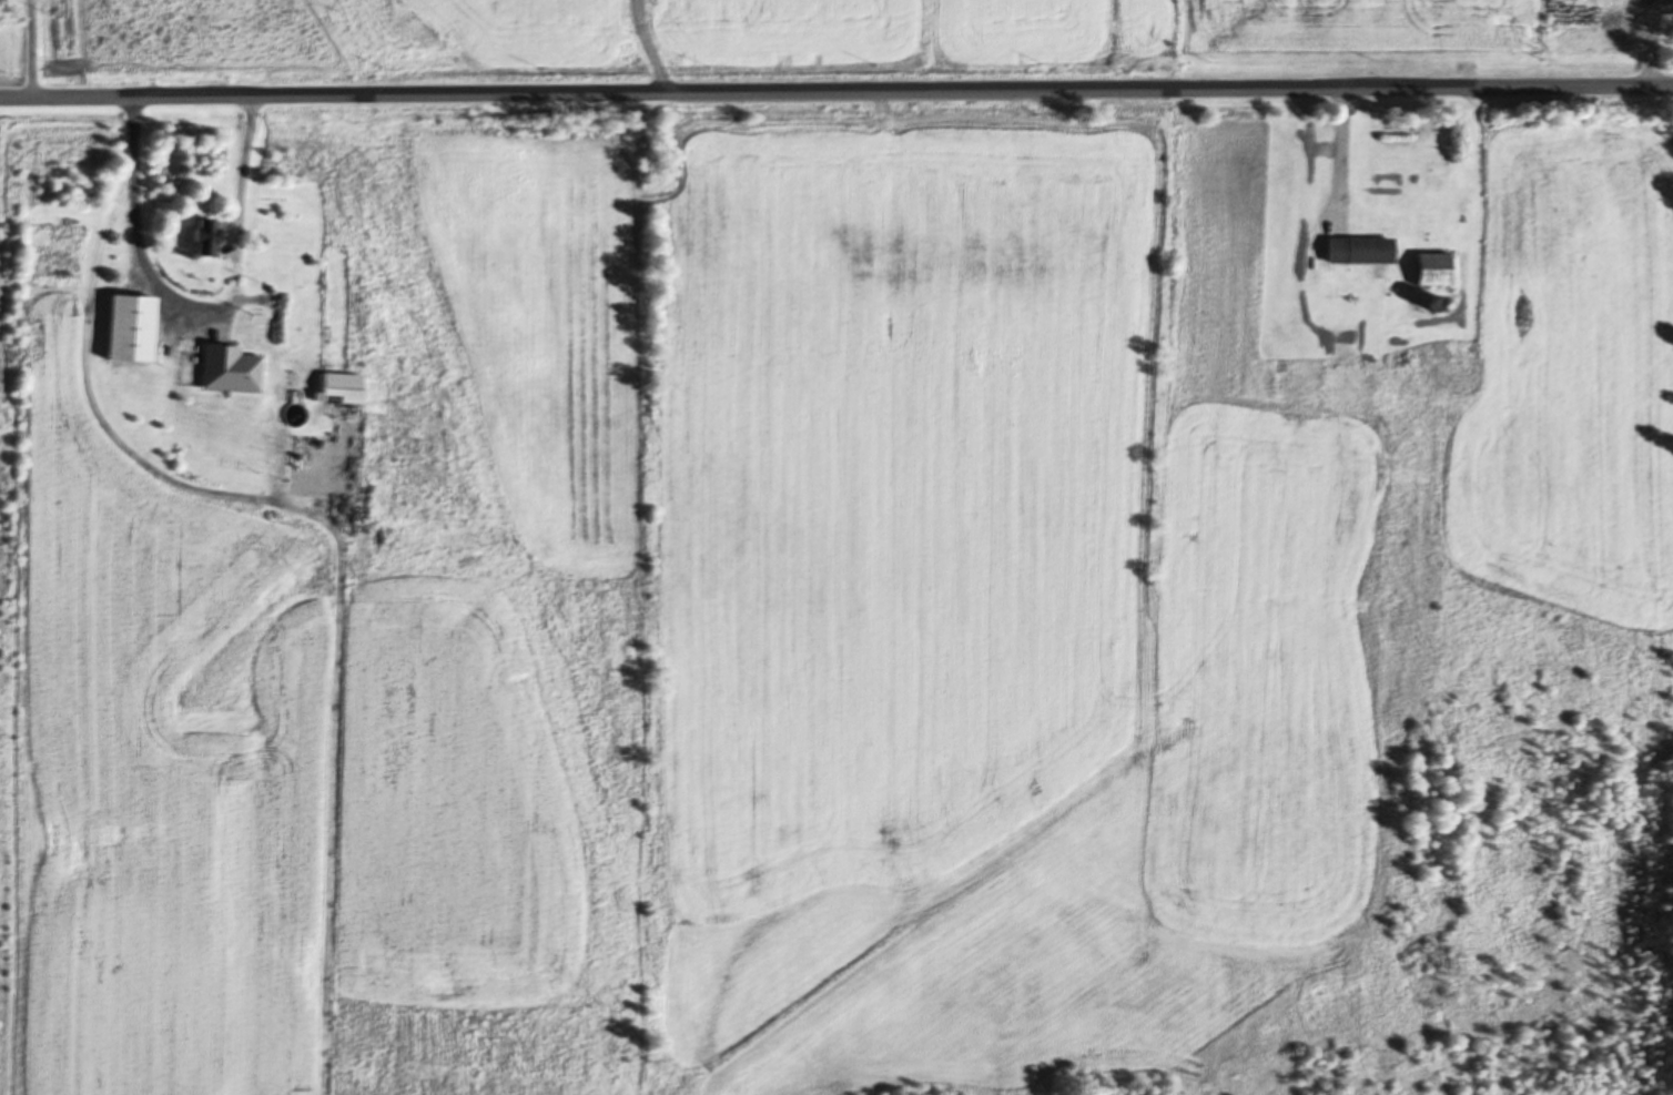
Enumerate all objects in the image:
road: (836, 91)
road: (239, 165)
road: (130, 229)
building: (195, 234)
building: (1357, 247)
building: (1429, 267)
building: (275, 316)
building: (123, 326)
building: (224, 366)
building: (313, 385)

